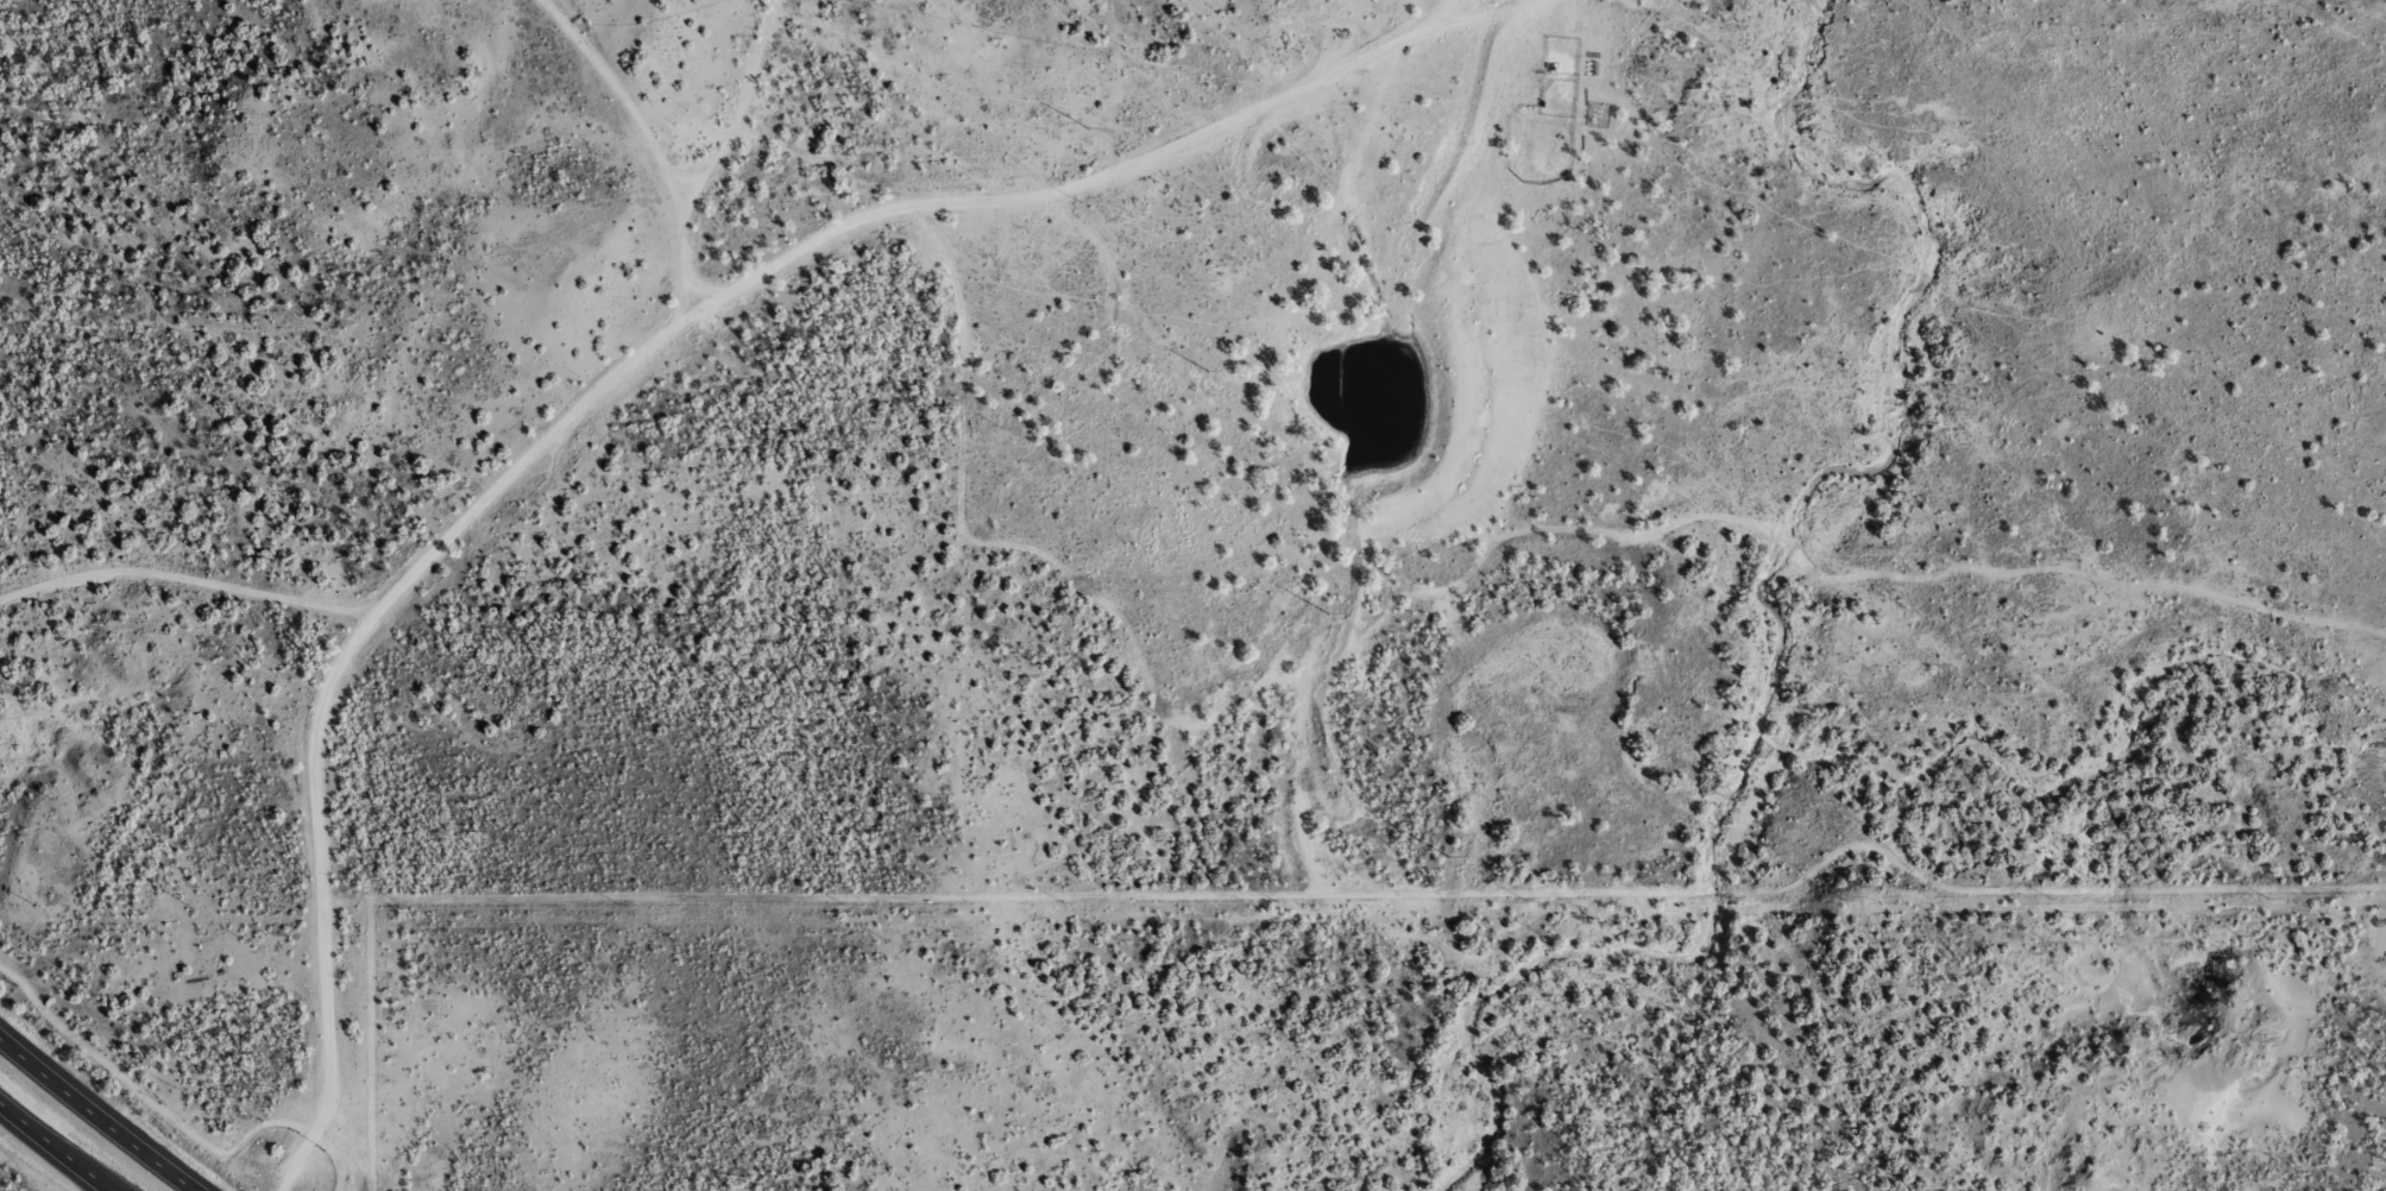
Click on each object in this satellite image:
road: (1444, 17)
road: (647, 354)
road: (96, 1120)
road: (56, 1148)

